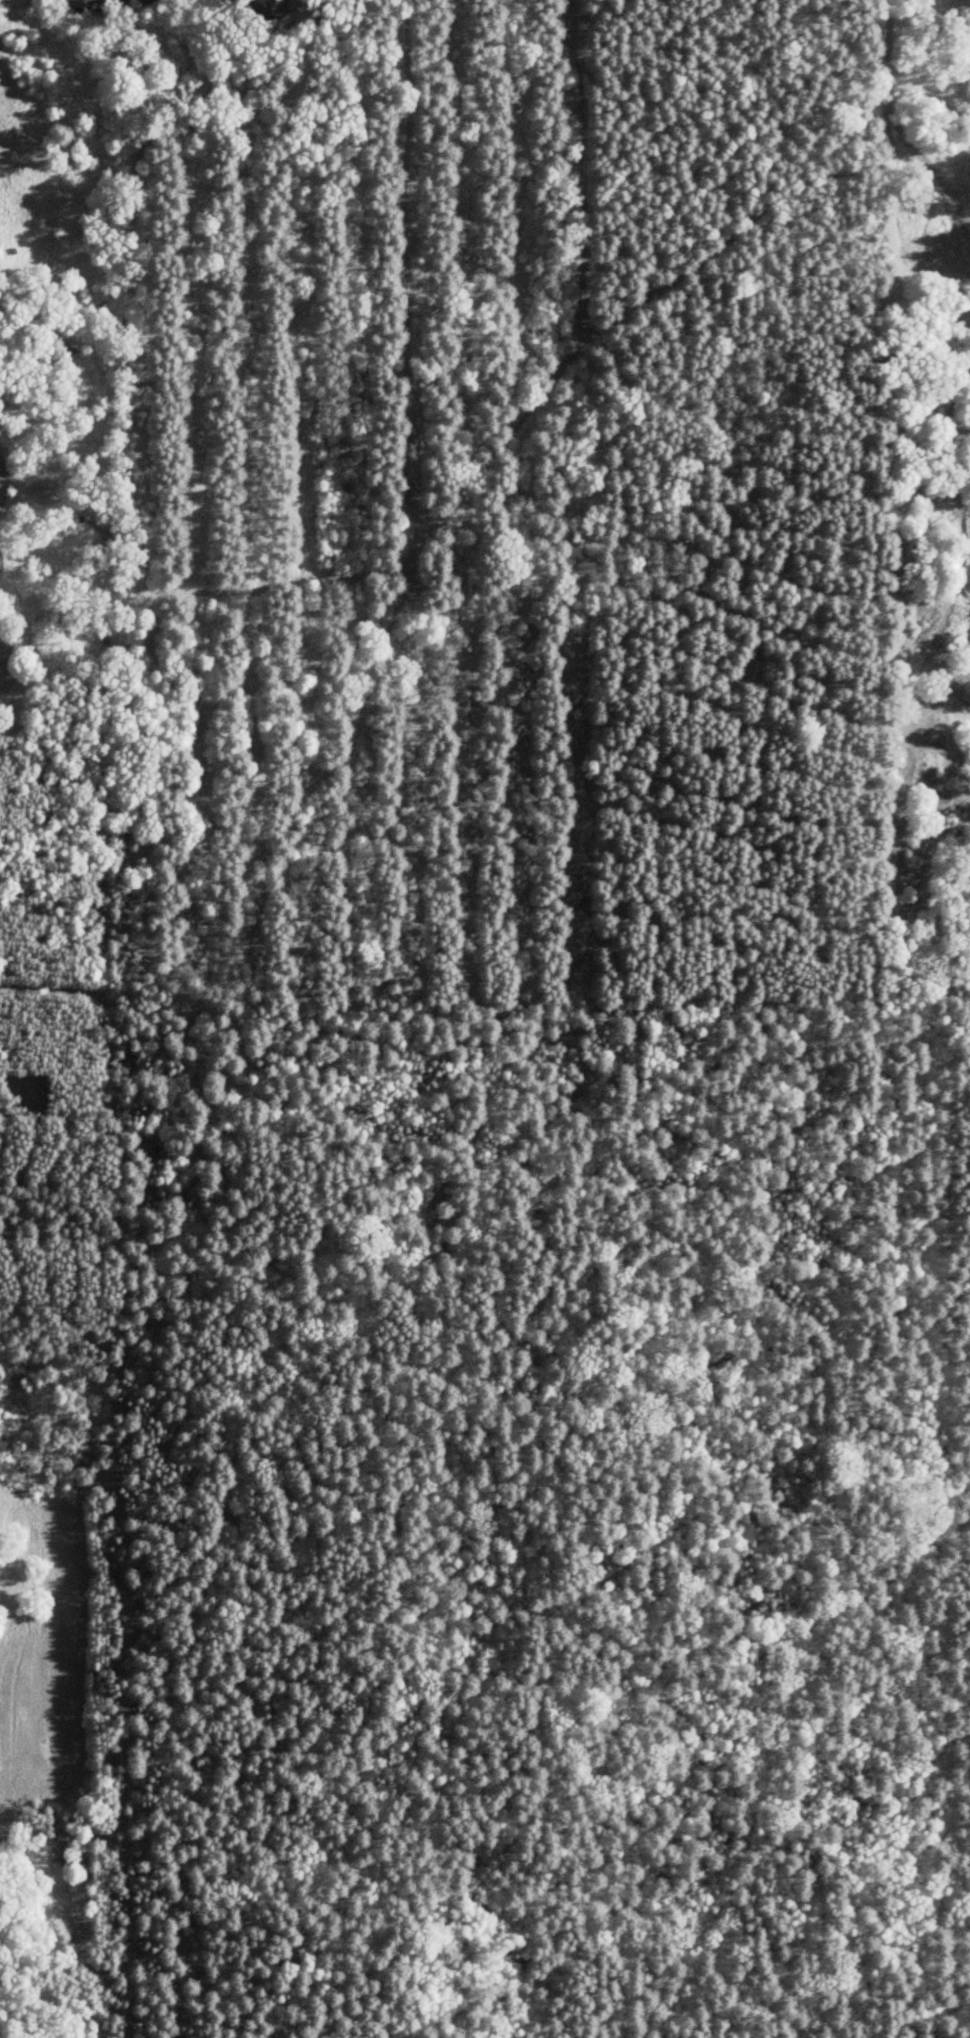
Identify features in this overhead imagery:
park: (554, 1487)

